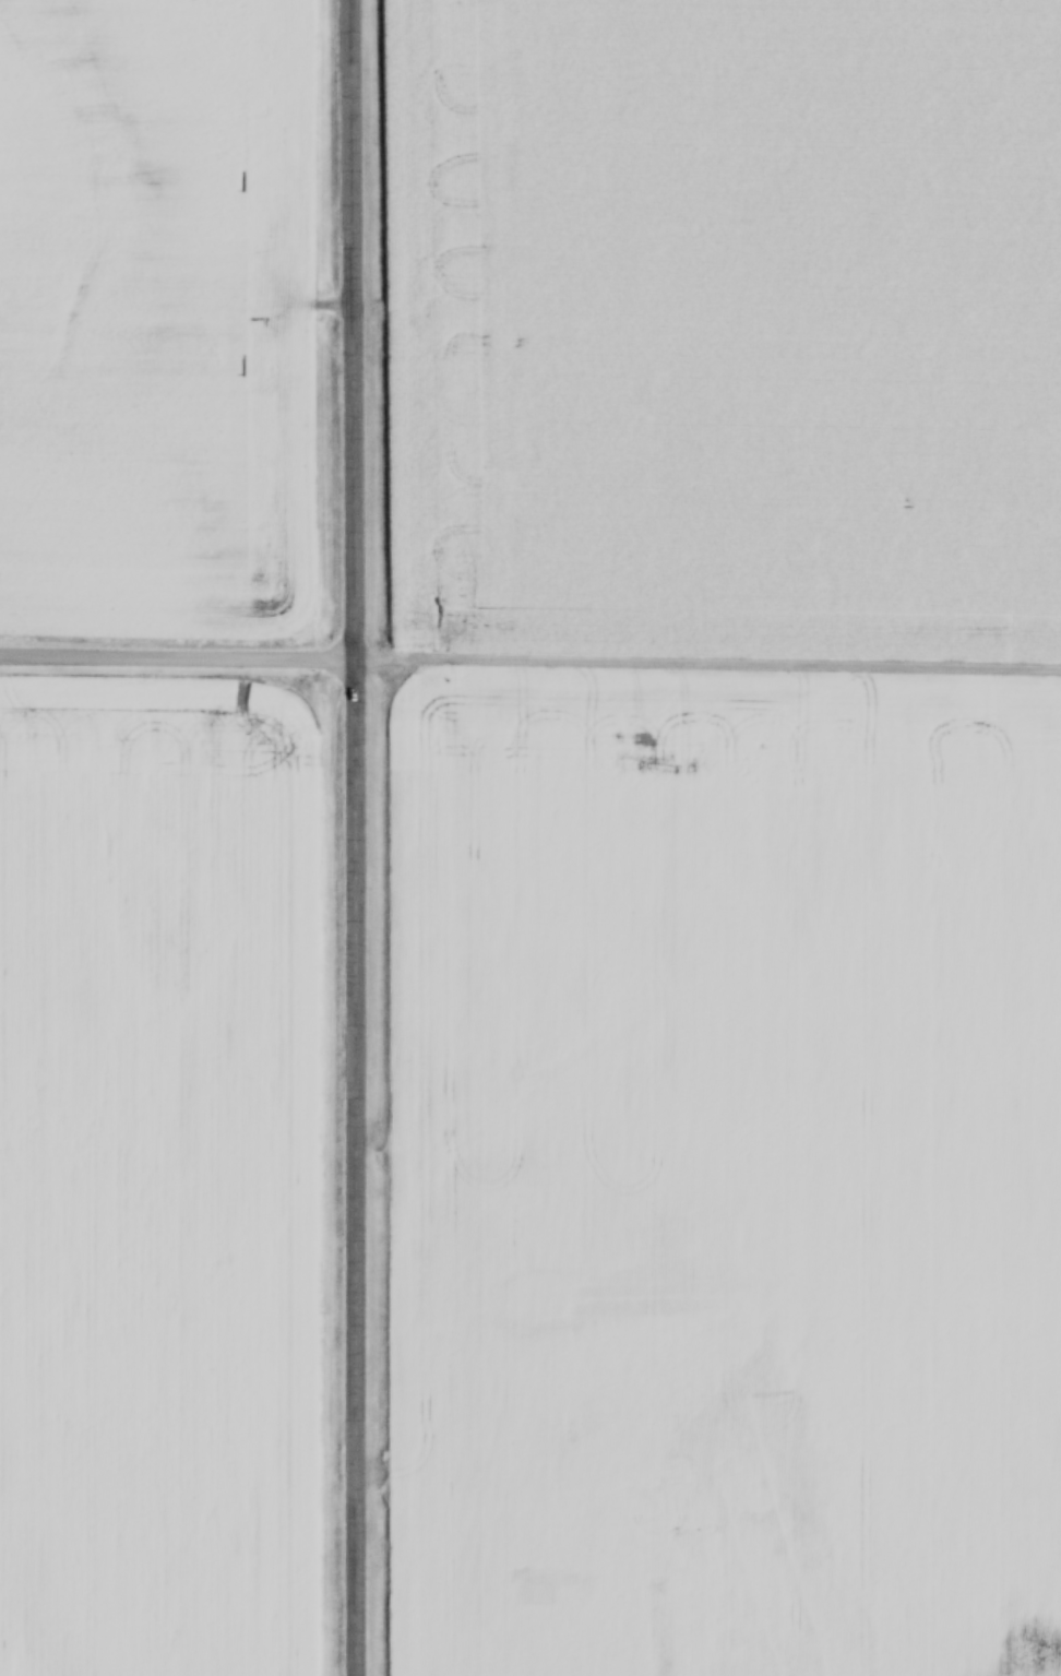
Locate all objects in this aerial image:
road: (530, 659)
road: (353, 837)

